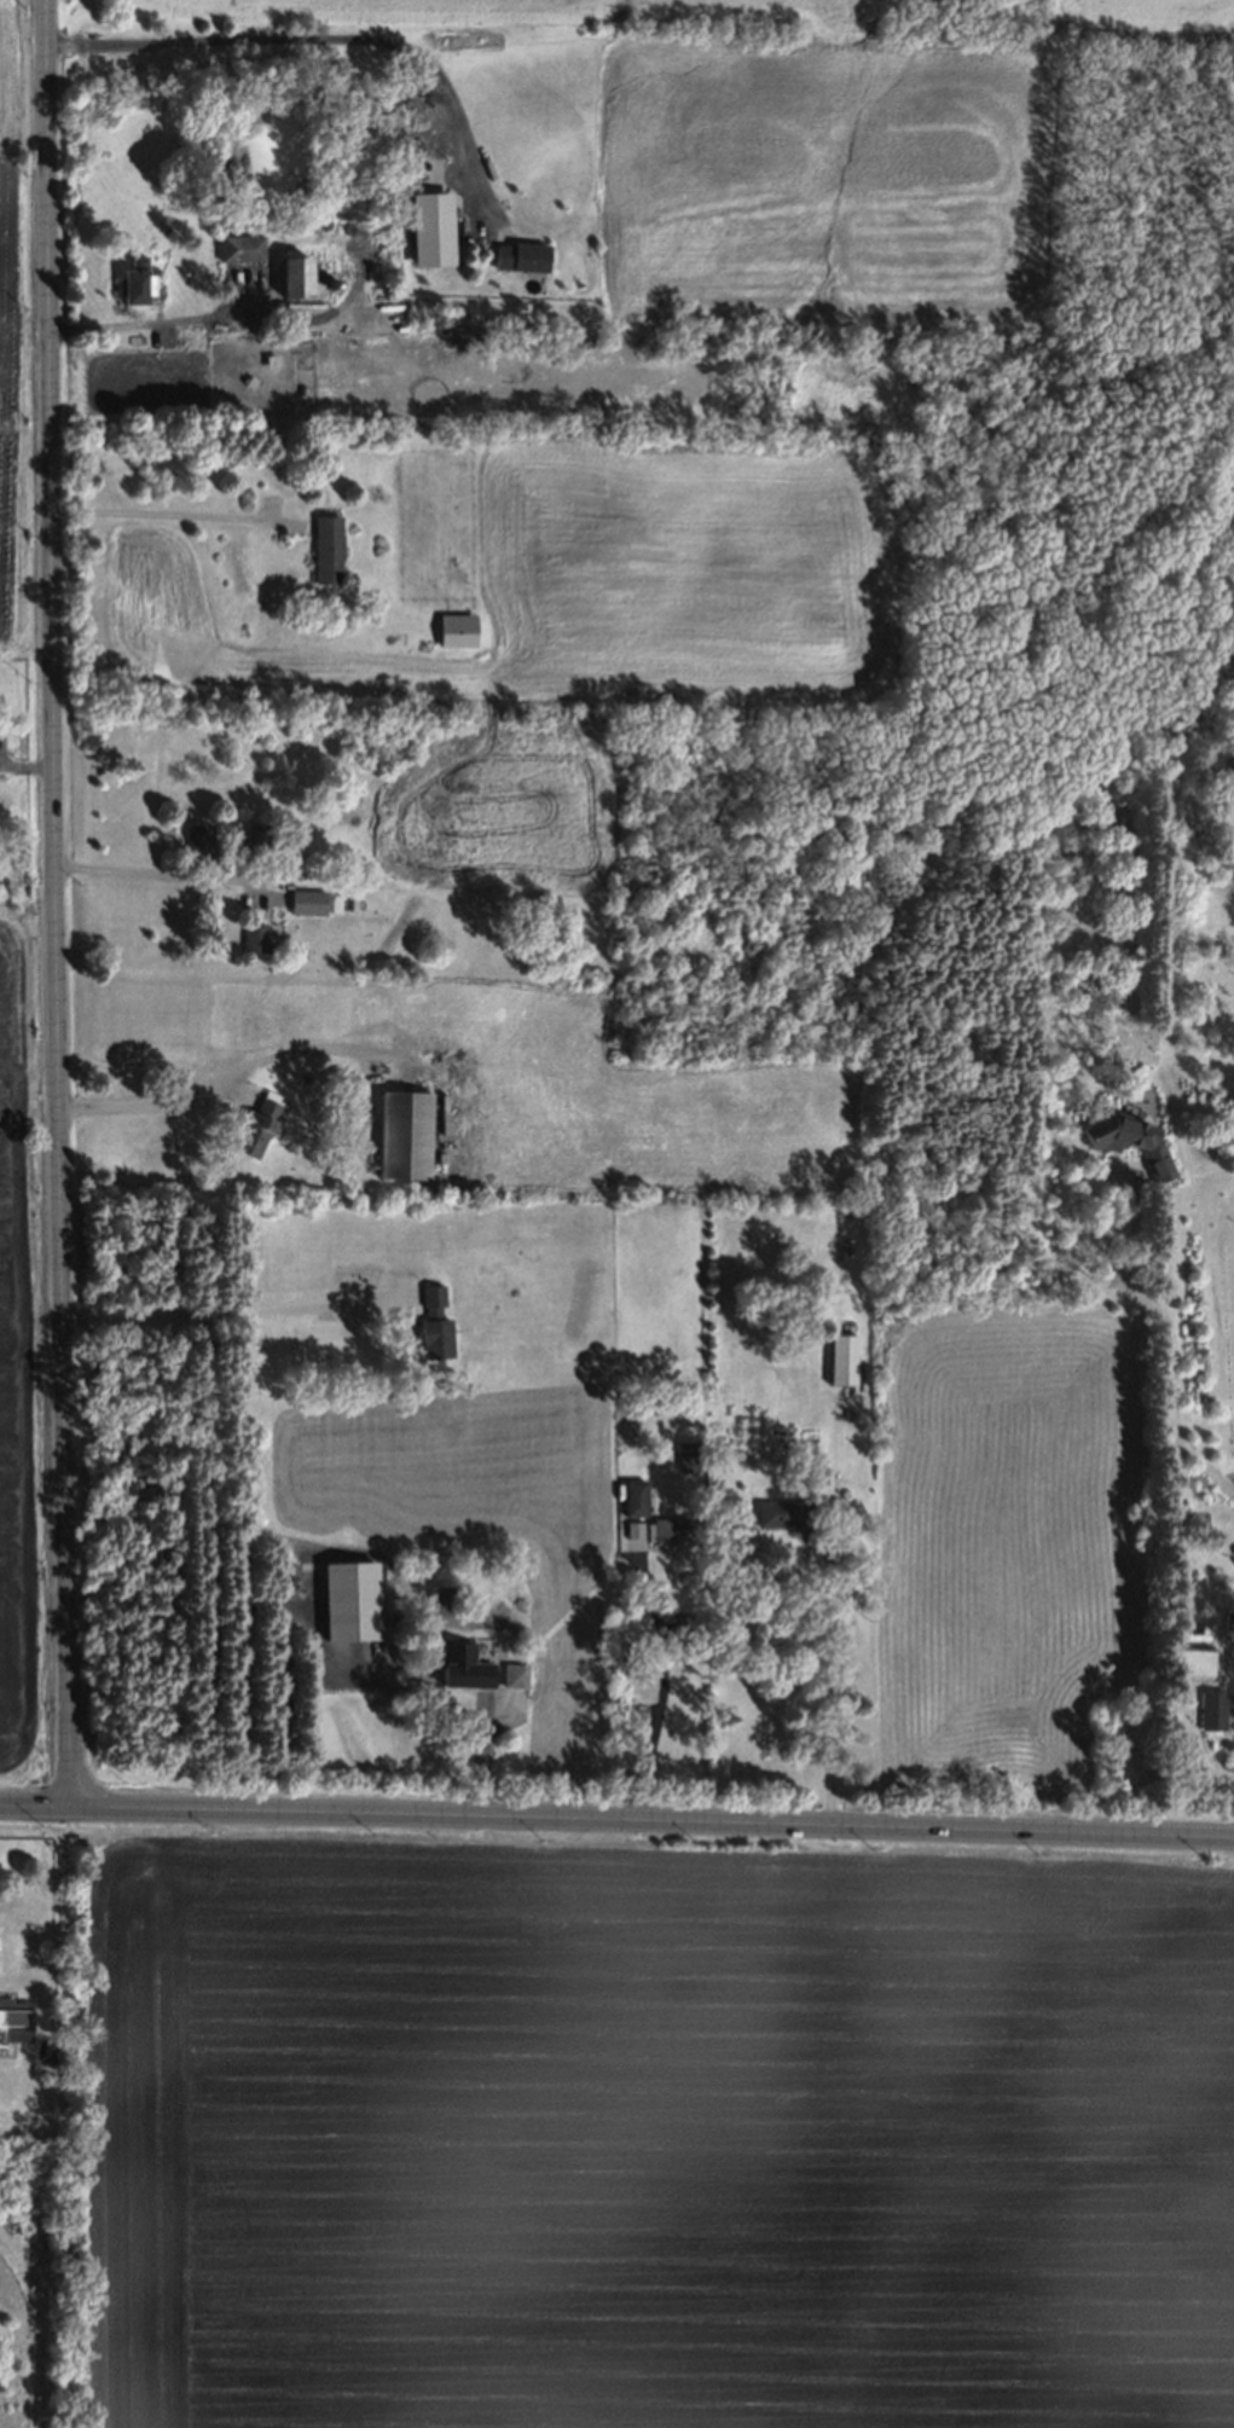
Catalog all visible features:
road: (302, 41)
building: (388, 121)
building: (425, 129)
building: (413, 208)
building: (241, 249)
building: (517, 255)
building: (295, 277)
building: (330, 279)
building: (133, 282)
road: (147, 324)
road: (172, 514)
building: (323, 547)
building: (446, 633)
building: (290, 830)
building: (254, 834)
building: (195, 841)
building: (315, 858)
road: (150, 873)
building: (306, 902)
road: (51, 903)
building: (251, 939)
road: (212, 1084)
building: (254, 1125)
building: (399, 1134)
building: (1126, 1141)
road: (233, 1315)
building: (430, 1325)
road: (1169, 1338)
building: (839, 1357)
building: (685, 1455)
building: (631, 1497)
building: (784, 1516)
building: (633, 1530)
building: (670, 1531)
building: (649, 1555)
building: (350, 1601)
building: (1228, 1624)
building: (1188, 1661)
building: (462, 1665)
building: (510, 1674)
road: (812, 1685)
road: (660, 1686)
building: (1205, 1704)
road: (616, 1821)
building: (13, 2018)

